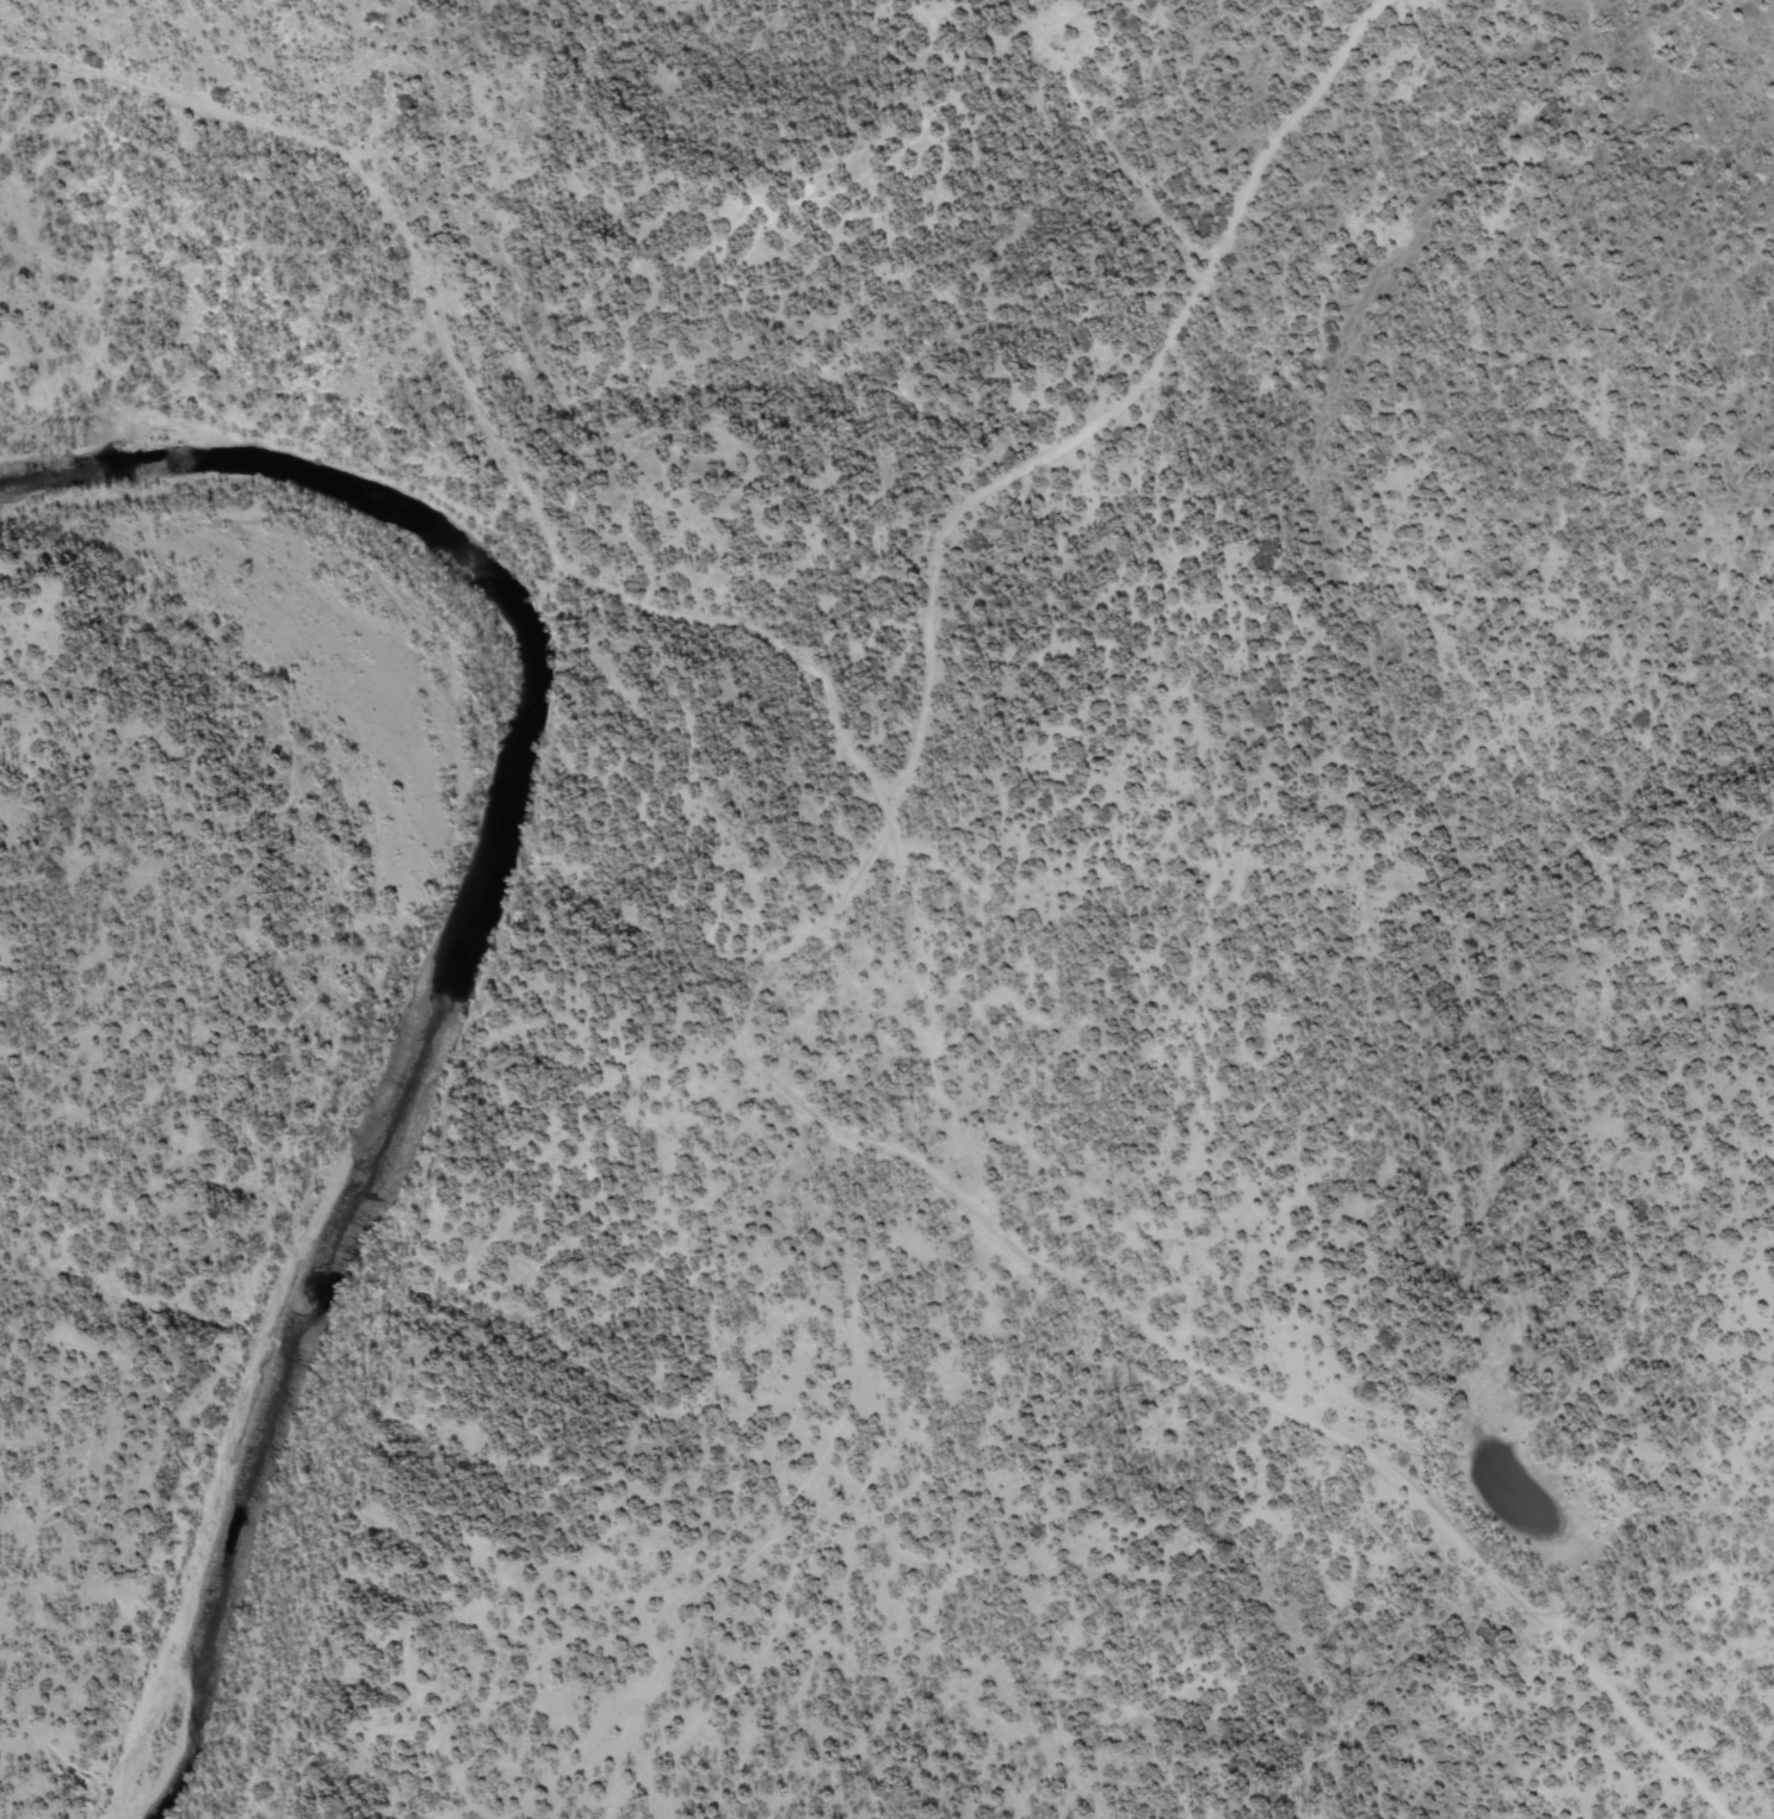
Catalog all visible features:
road: (152, 109)
river: (449, 953)
road: (823, 1029)

